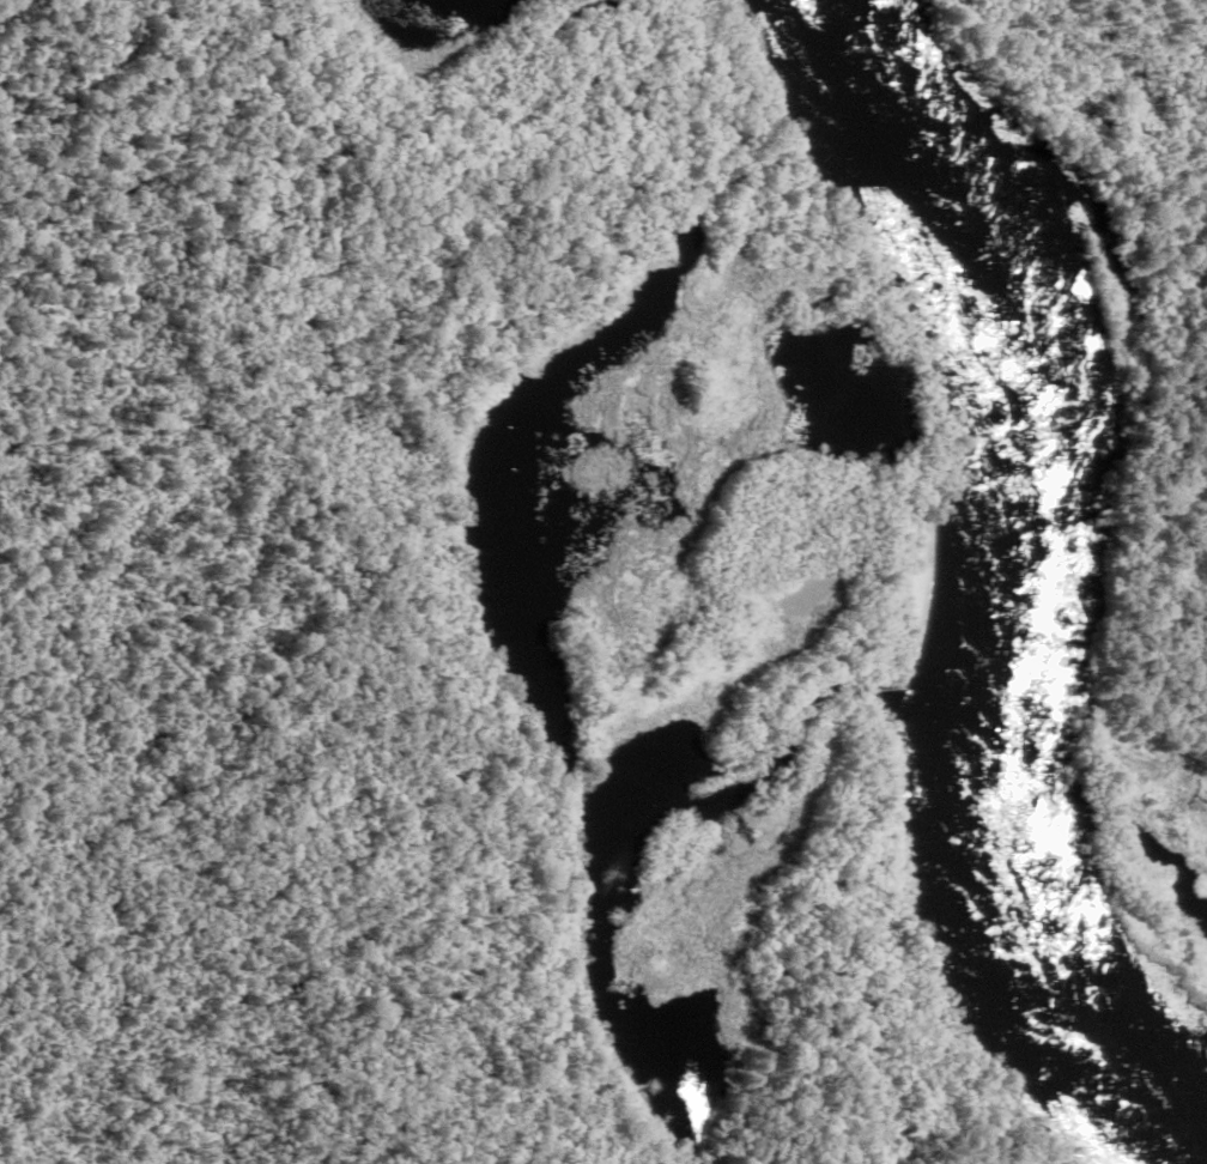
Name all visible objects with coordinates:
river: (1011, 581)

